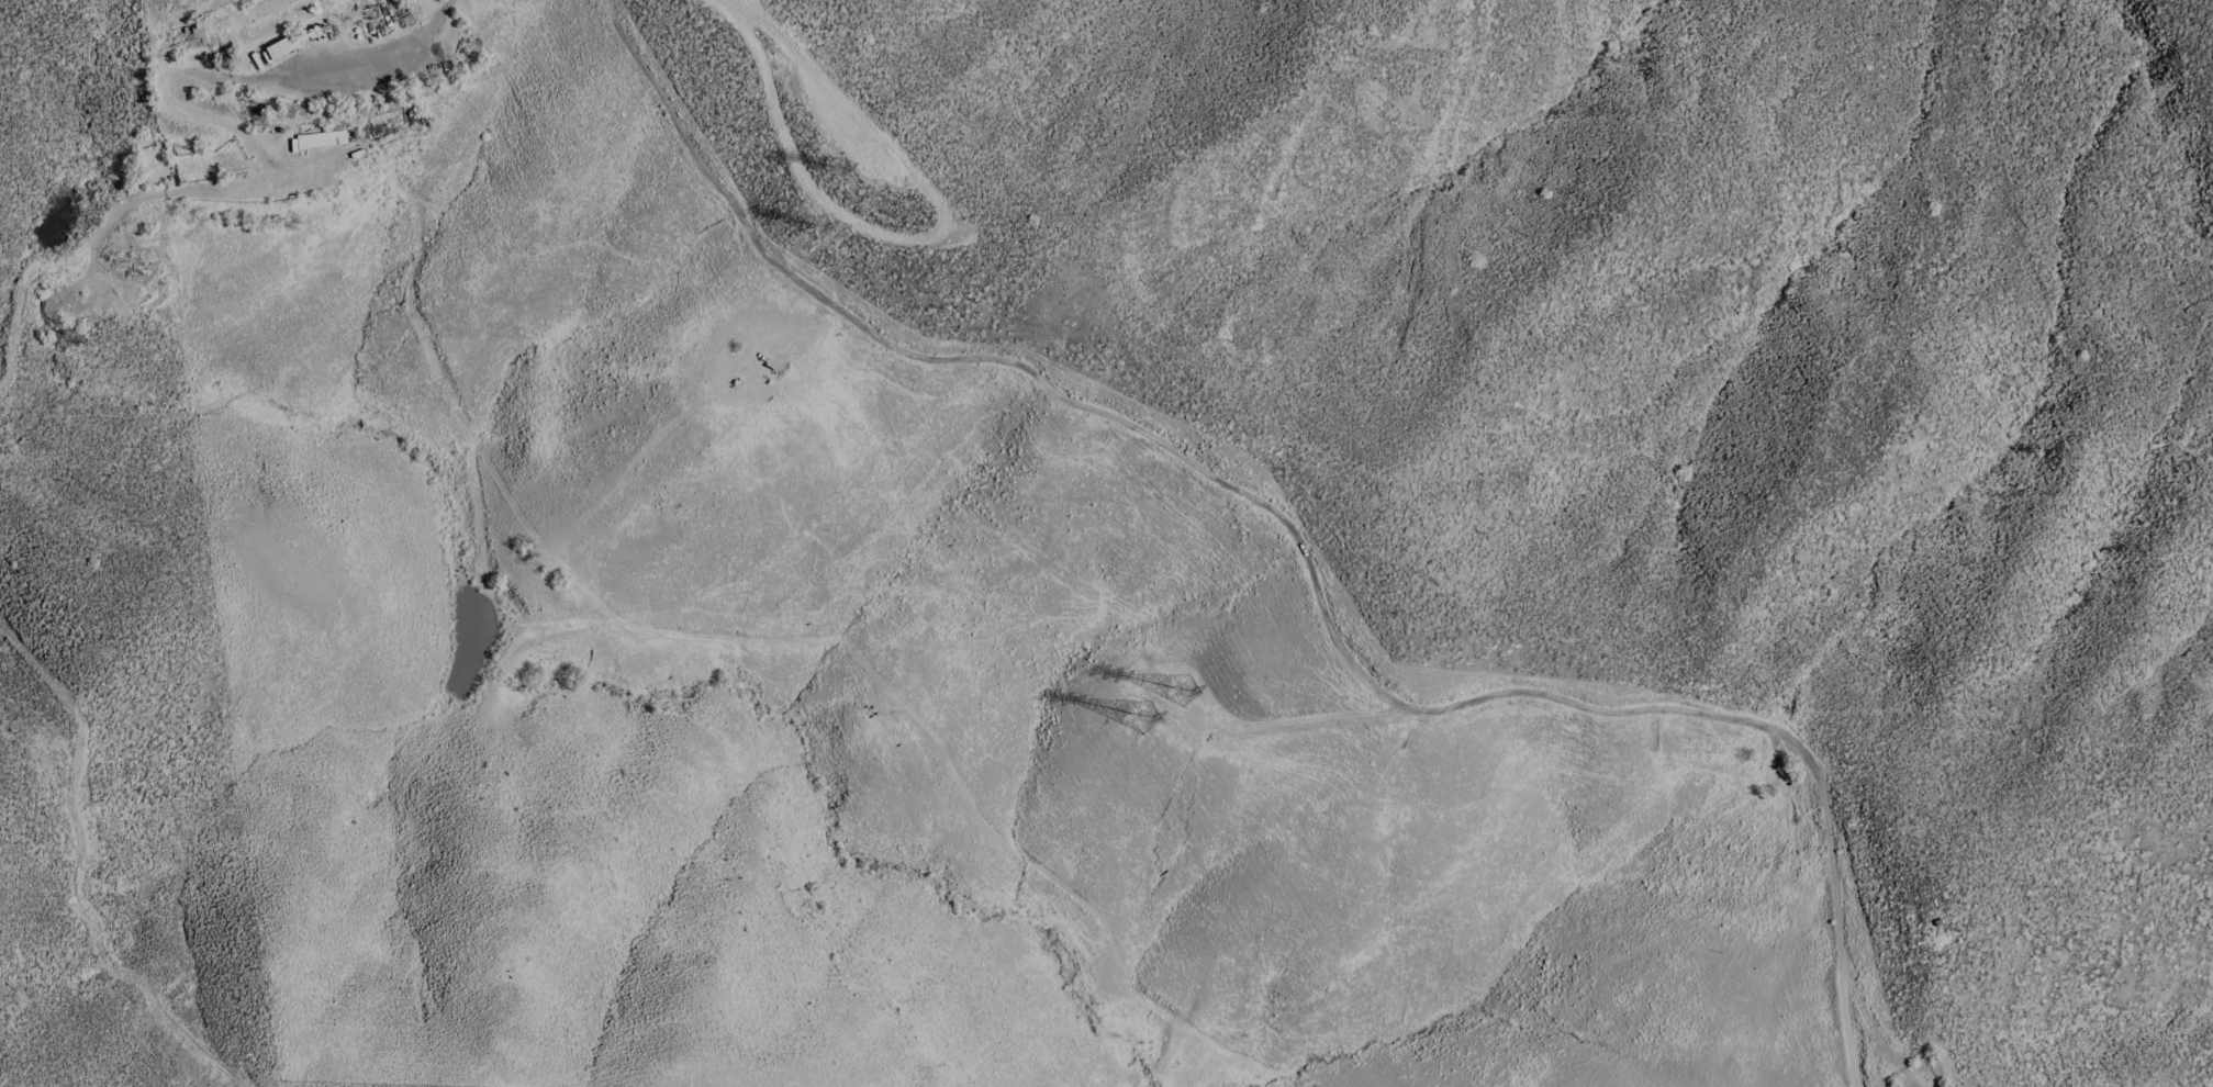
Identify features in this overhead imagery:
road: (737, 9)
building: (195, 34)
building: (278, 48)
road: (376, 66)
road: (826, 120)
building: (322, 136)
power tower: (836, 176)
power tower: (820, 232)
road: (919, 242)
road: (1306, 560)
power tower: (1189, 693)
power tower: (1148, 720)
road: (1289, 724)
road: (1854, 1021)

